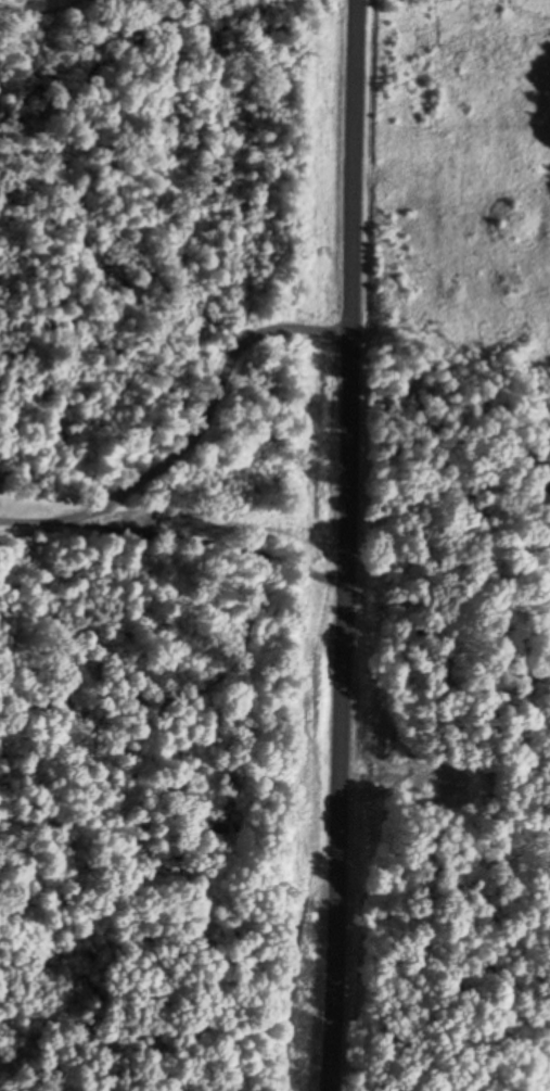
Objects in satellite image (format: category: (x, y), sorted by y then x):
road: (348, 545)

